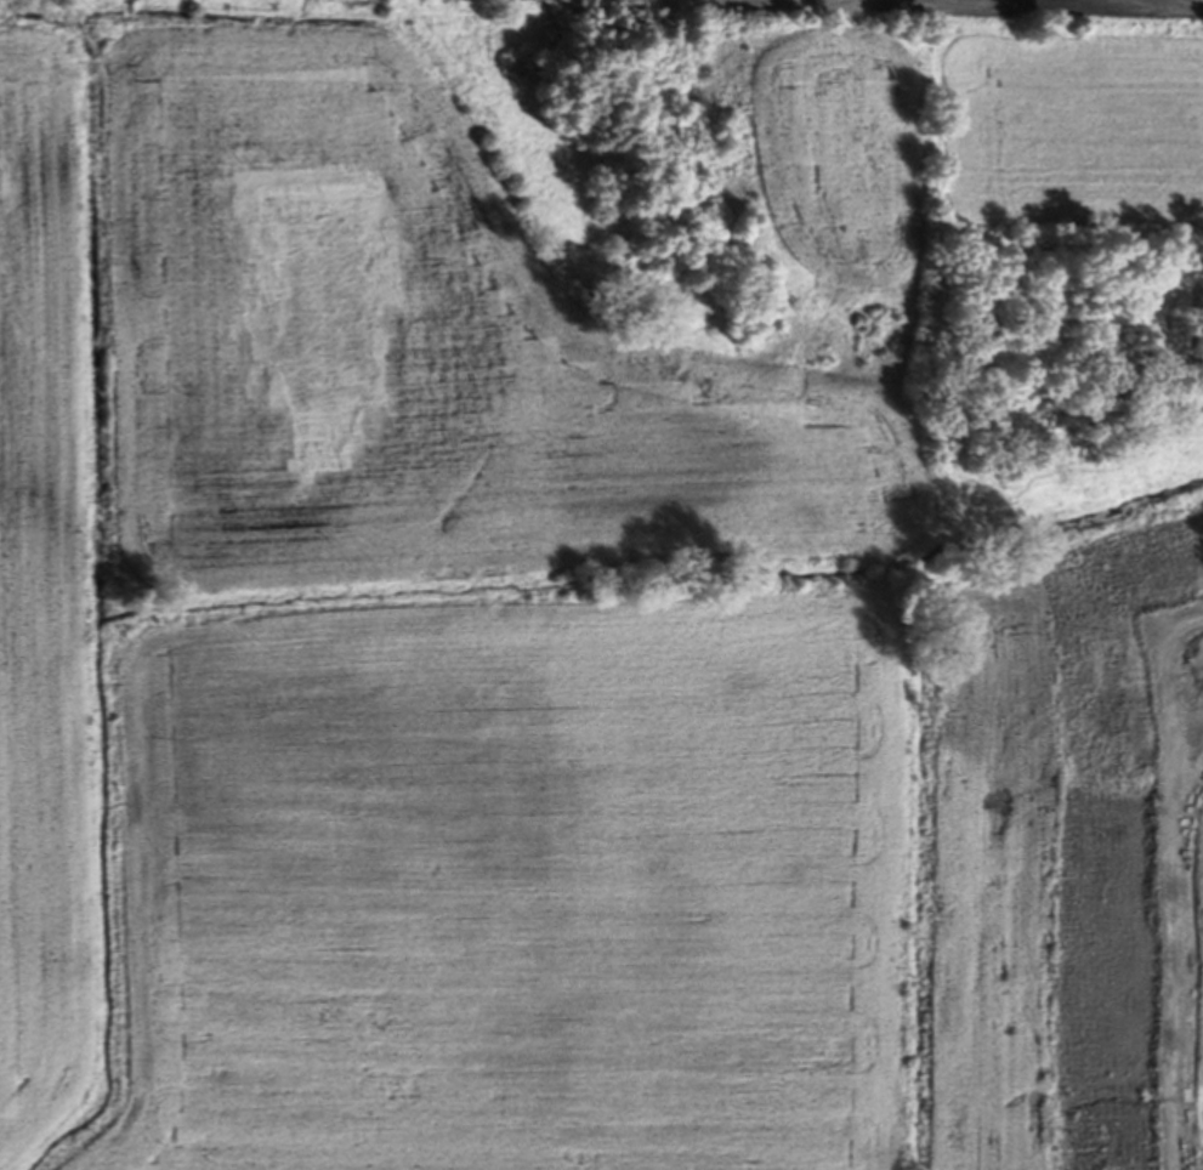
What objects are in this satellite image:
quarry: (1179, 1135)

